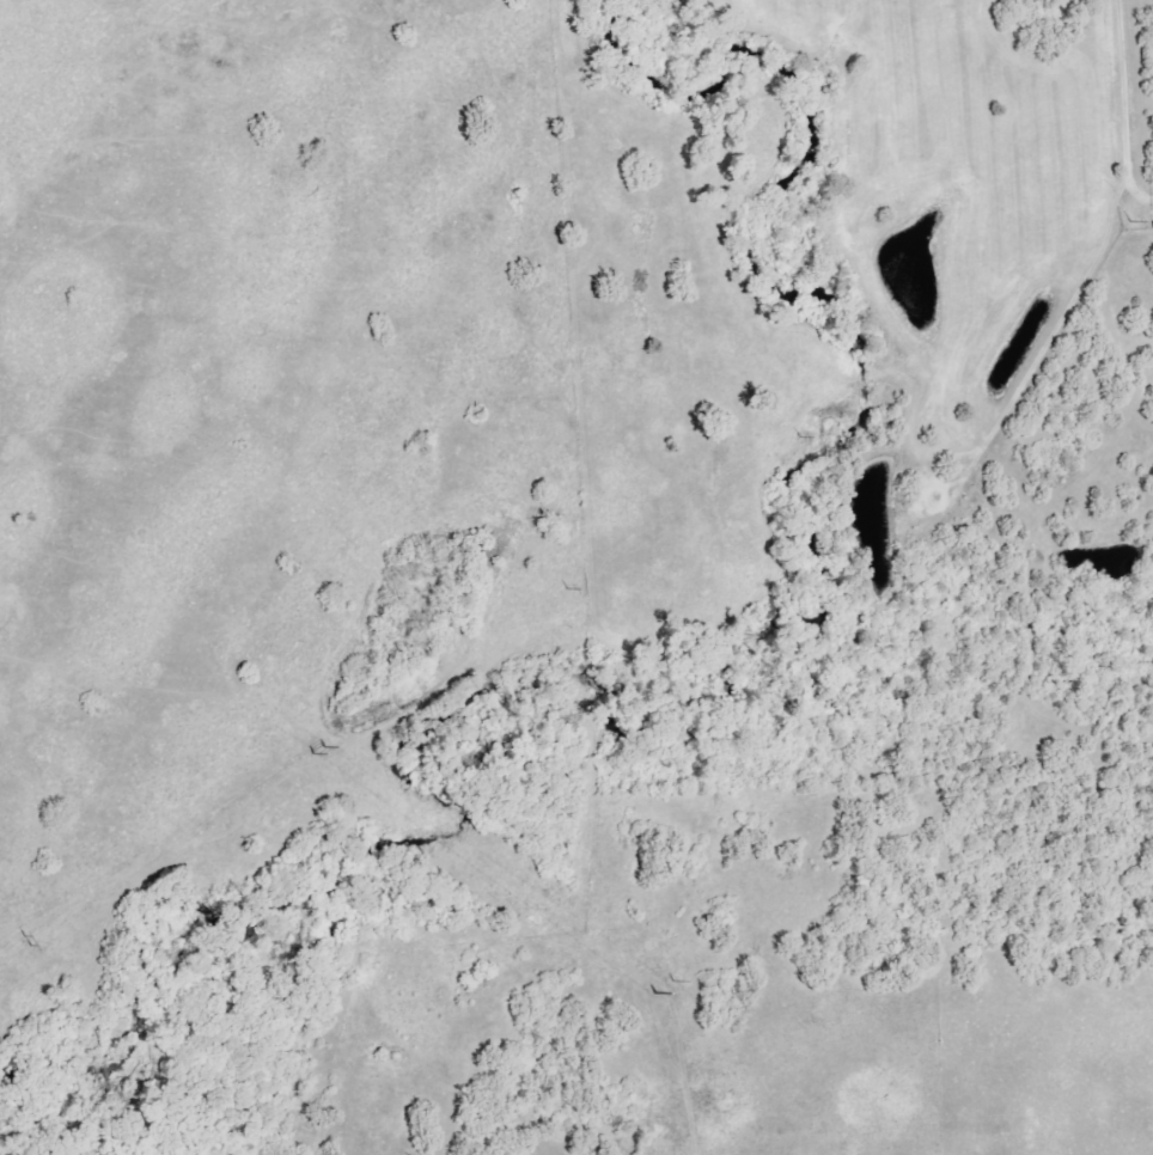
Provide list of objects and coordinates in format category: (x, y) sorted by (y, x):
road: (1124, 94)
power tower: (1128, 222)
power tower: (799, 438)
power tower: (566, 589)
power tower: (325, 746)
power tower: (317, 752)
power tower: (24, 942)
power tower: (673, 979)
power tower: (655, 994)

